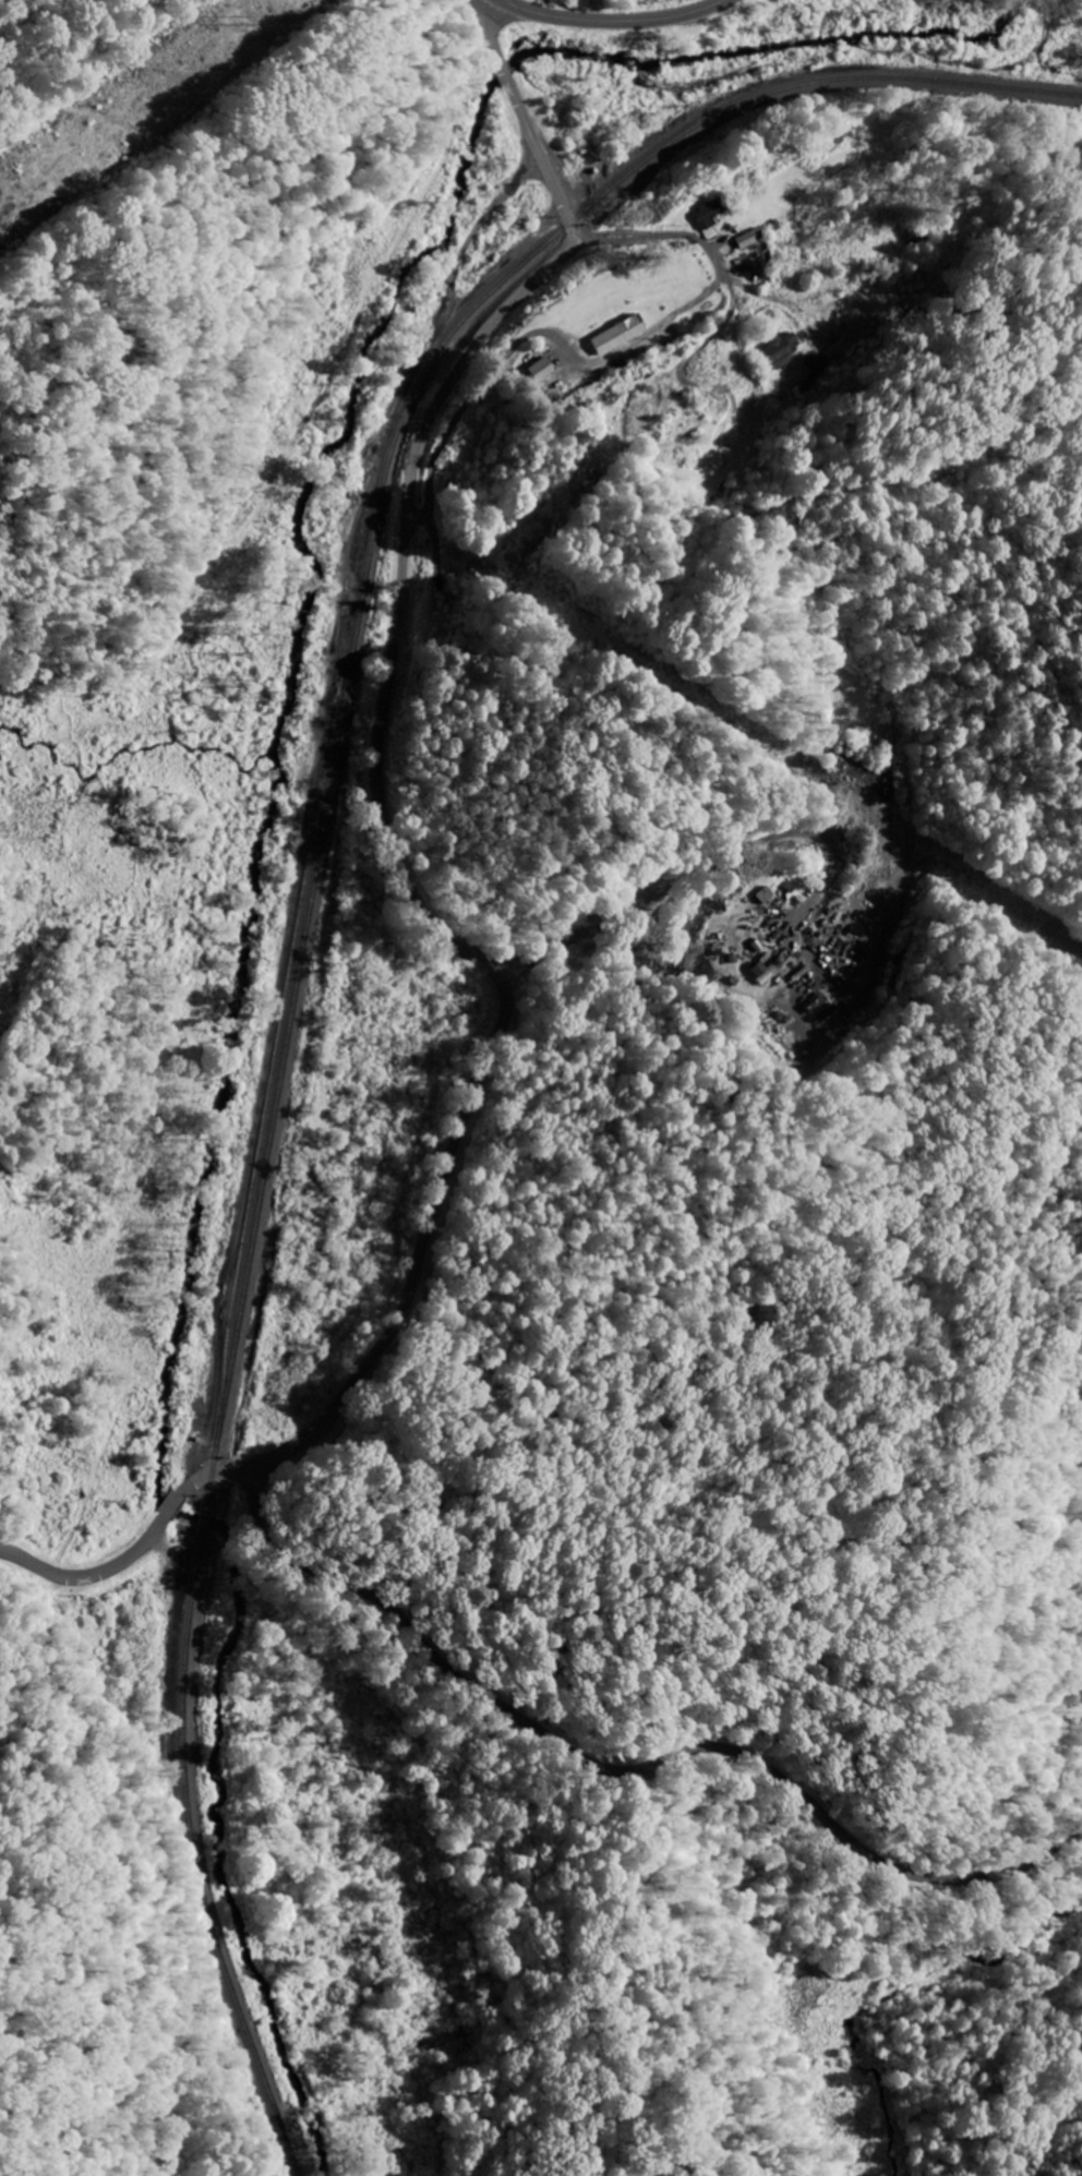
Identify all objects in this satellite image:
road: (615, 21)
building: (708, 211)
building: (749, 238)
road: (707, 249)
building: (761, 264)
building: (617, 334)
building: (776, 347)
building: (818, 363)
building: (538, 370)
road: (664, 477)
railway: (370, 556)
road: (375, 795)
road: (697, 869)
building: (770, 970)
building: (820, 1007)
road: (173, 1503)
railway: (205, 1519)
road: (91, 1576)
road: (622, 1775)
railway: (200, 1864)

